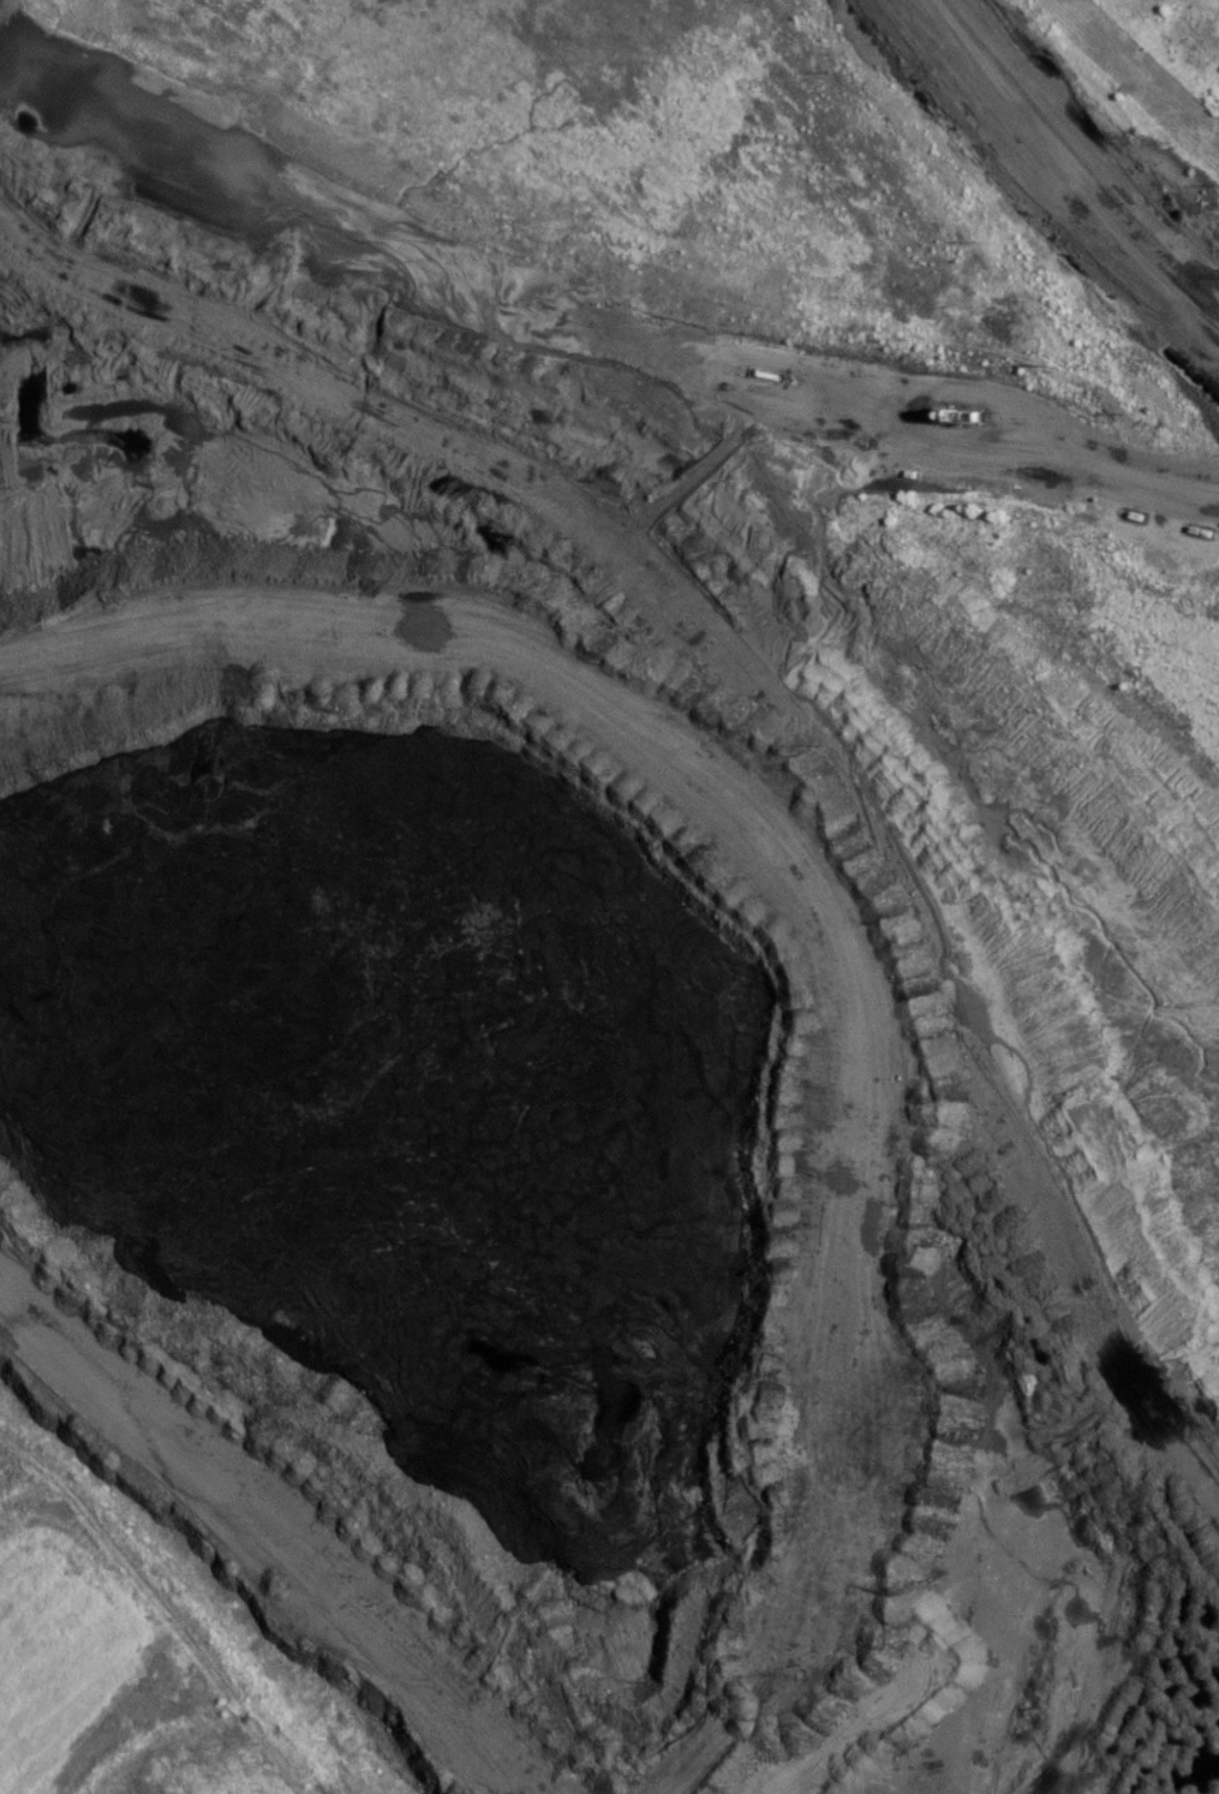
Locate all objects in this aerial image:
road: (1068, 160)
road: (597, 407)

